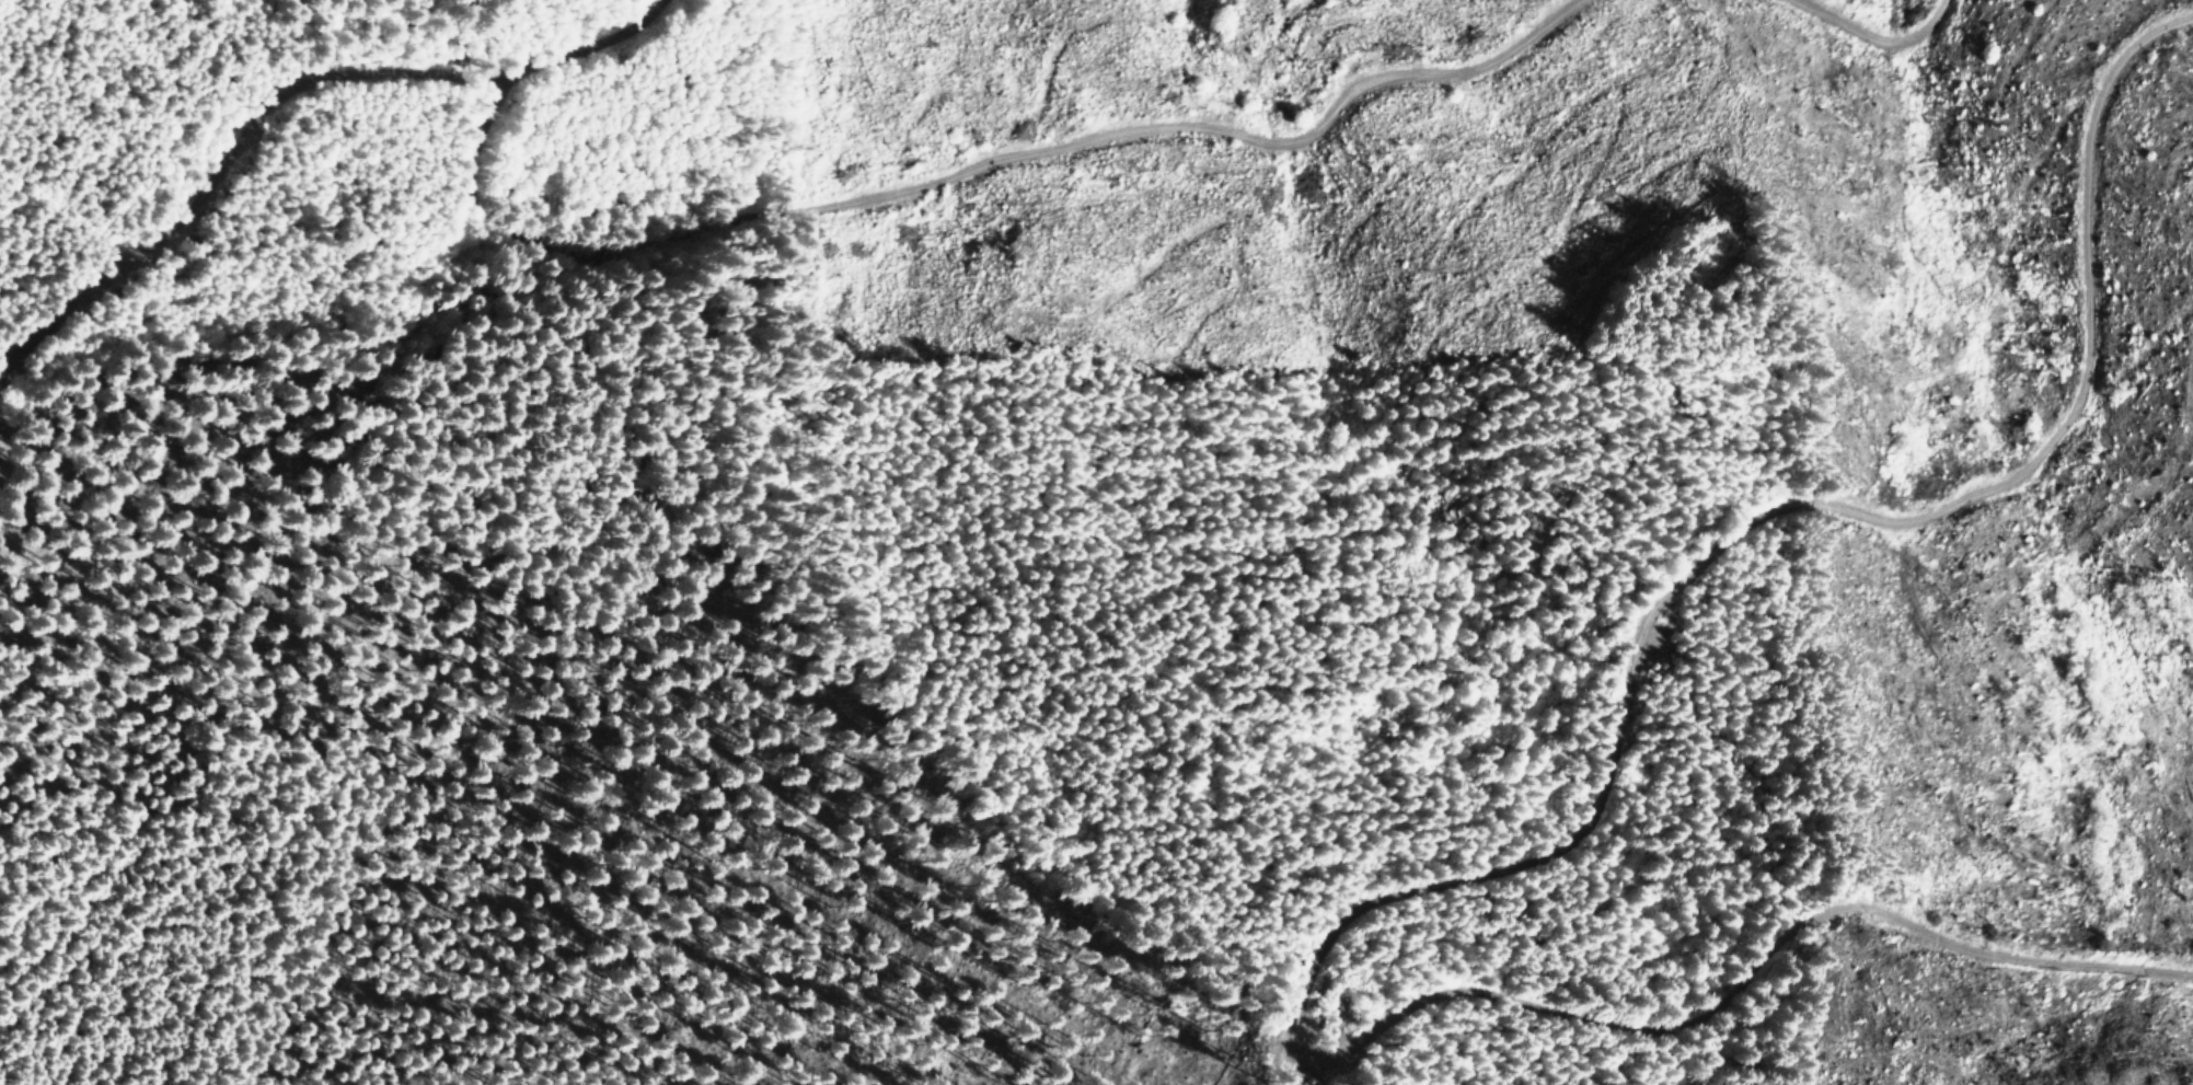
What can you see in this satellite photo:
road: (1872, 35)
road: (227, 175)
road: (885, 186)
road: (1496, 864)

